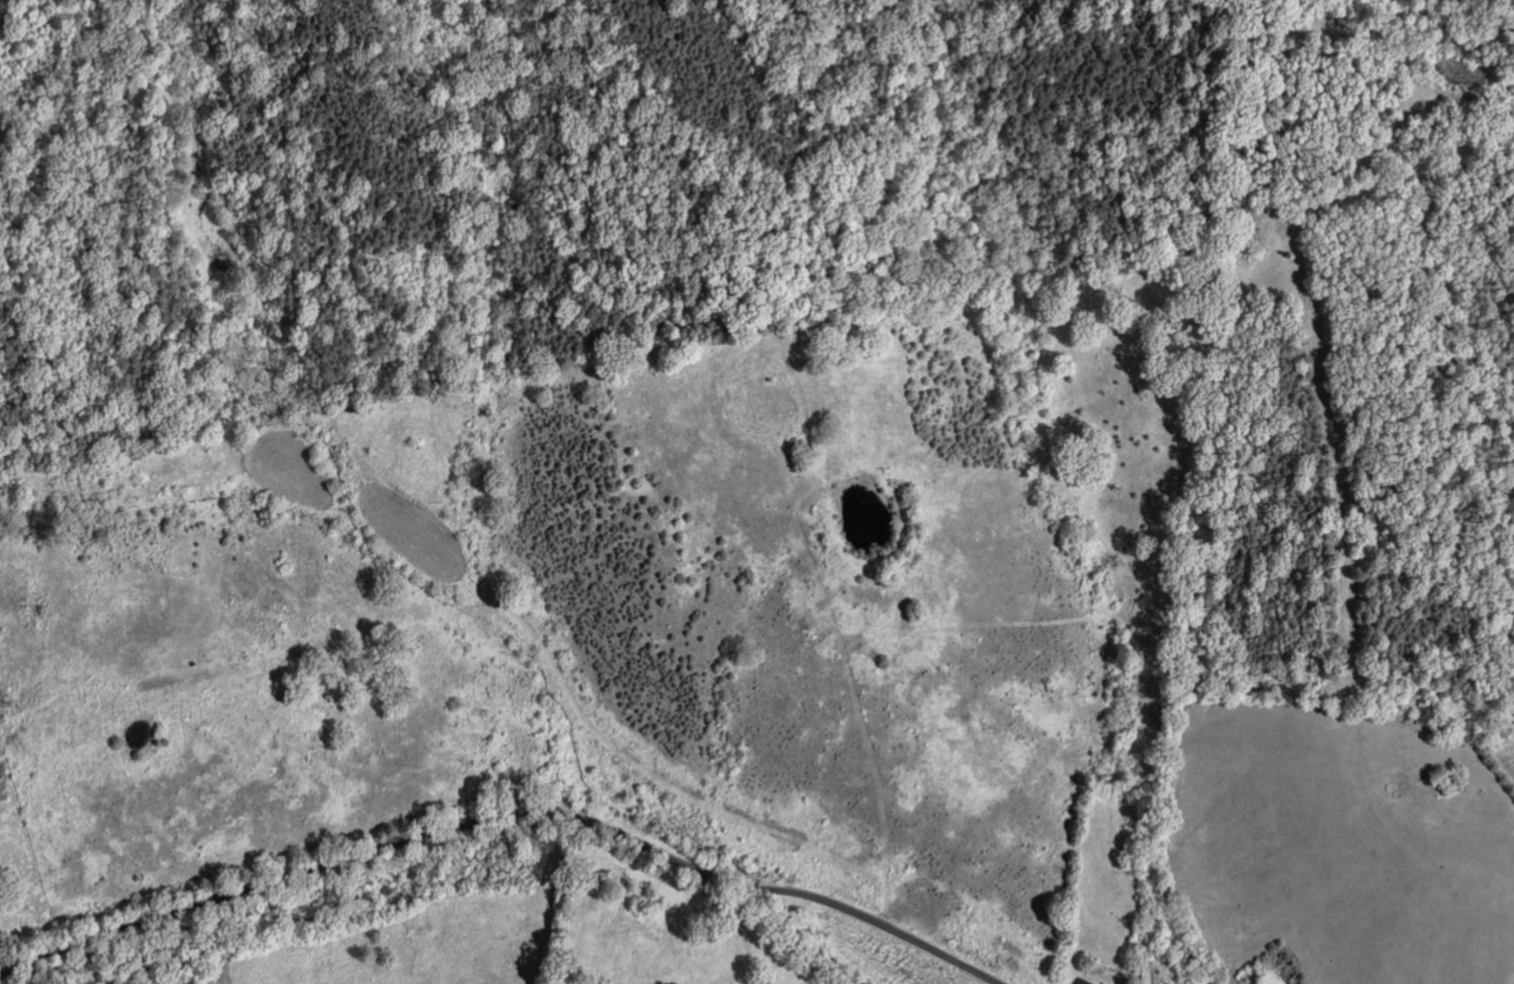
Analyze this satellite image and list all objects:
road: (505, 818)
building: (1080, 981)
building: (1100, 983)

